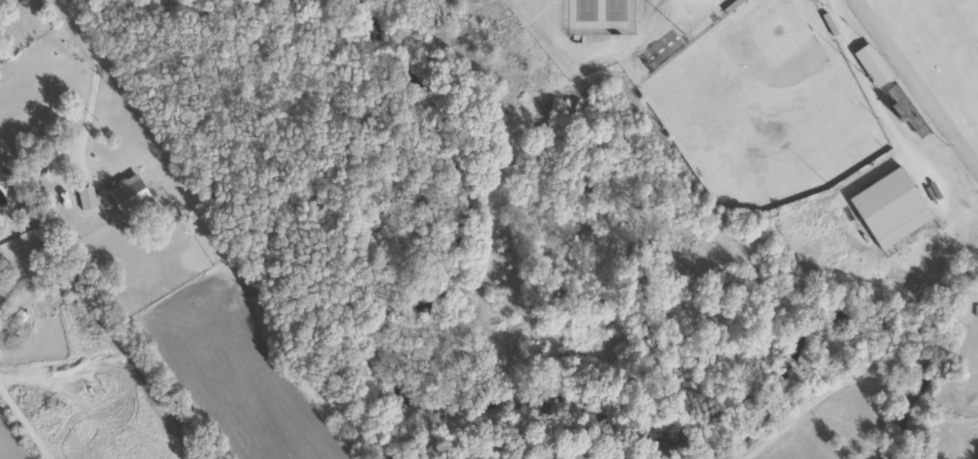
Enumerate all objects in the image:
road: (76, 22)
building: (874, 70)
building: (127, 196)
building: (85, 198)
building: (869, 198)
building: (902, 279)
building: (2, 299)
building: (19, 318)
river: (476, 412)
road: (23, 424)

